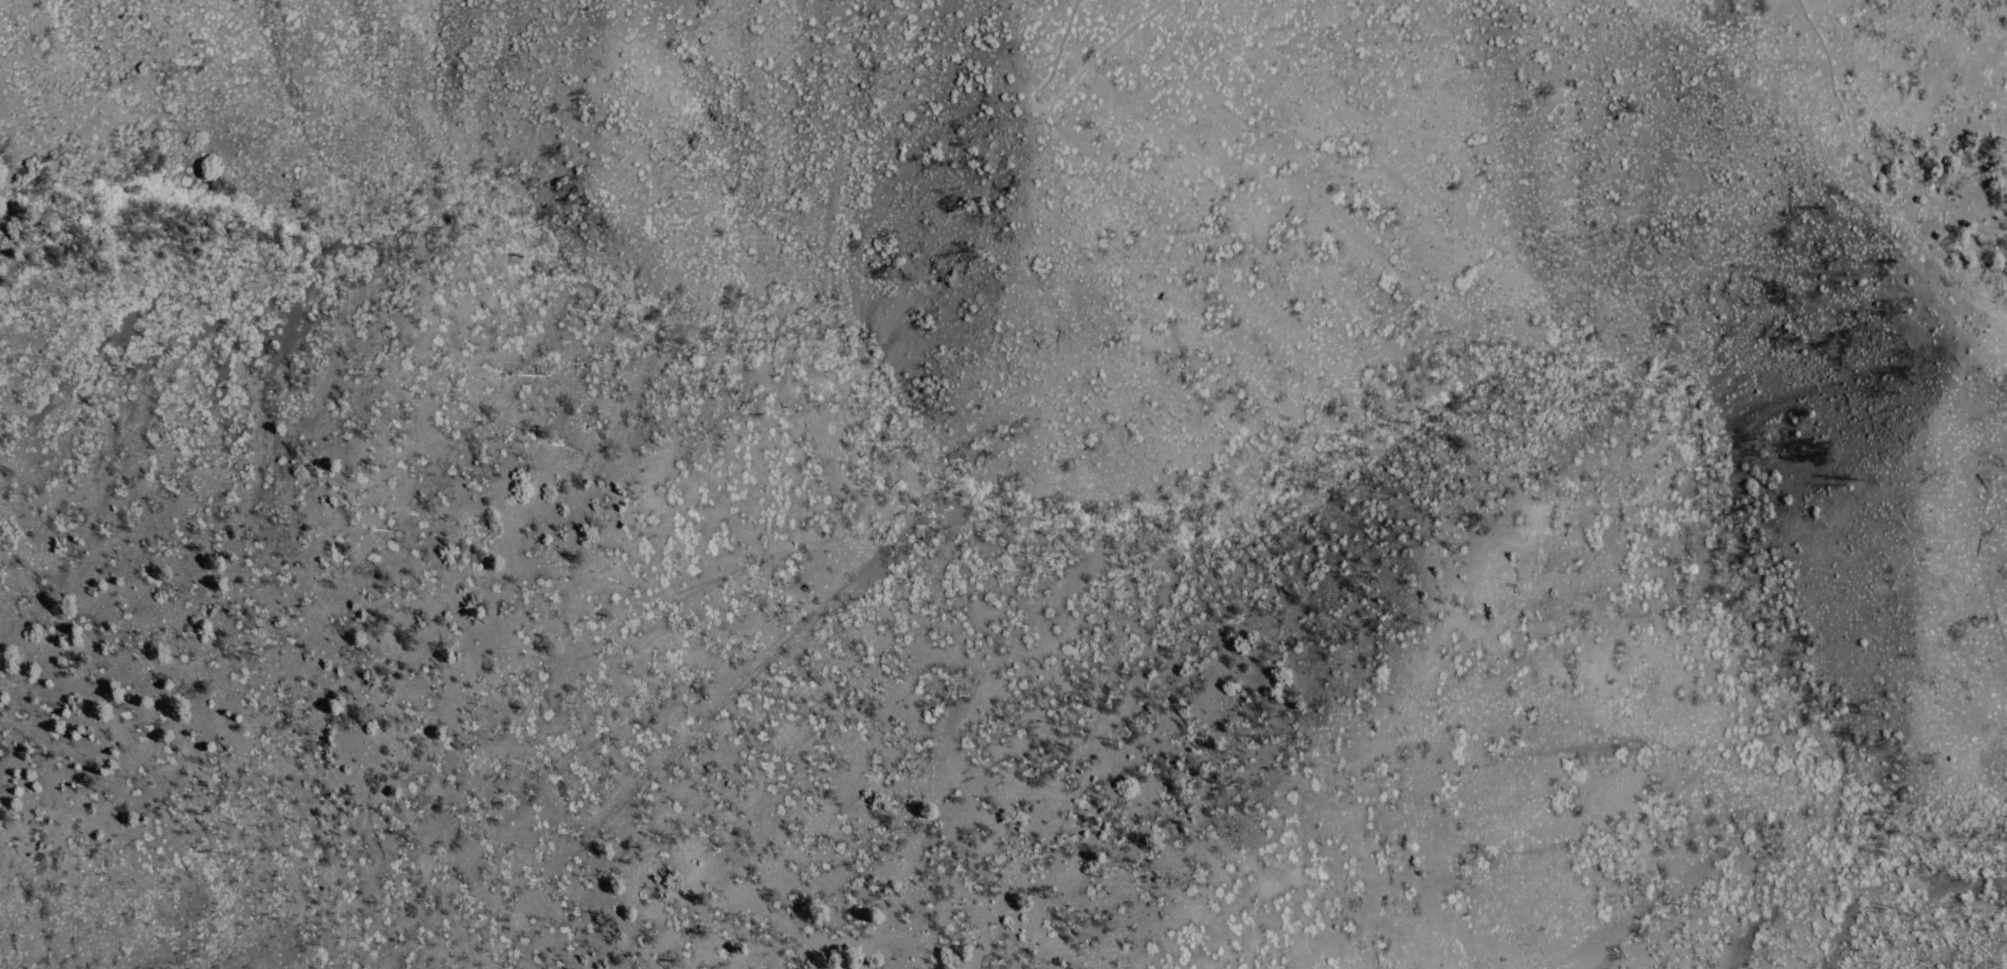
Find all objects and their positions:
road: (1049, 80)
road: (1863, 147)

